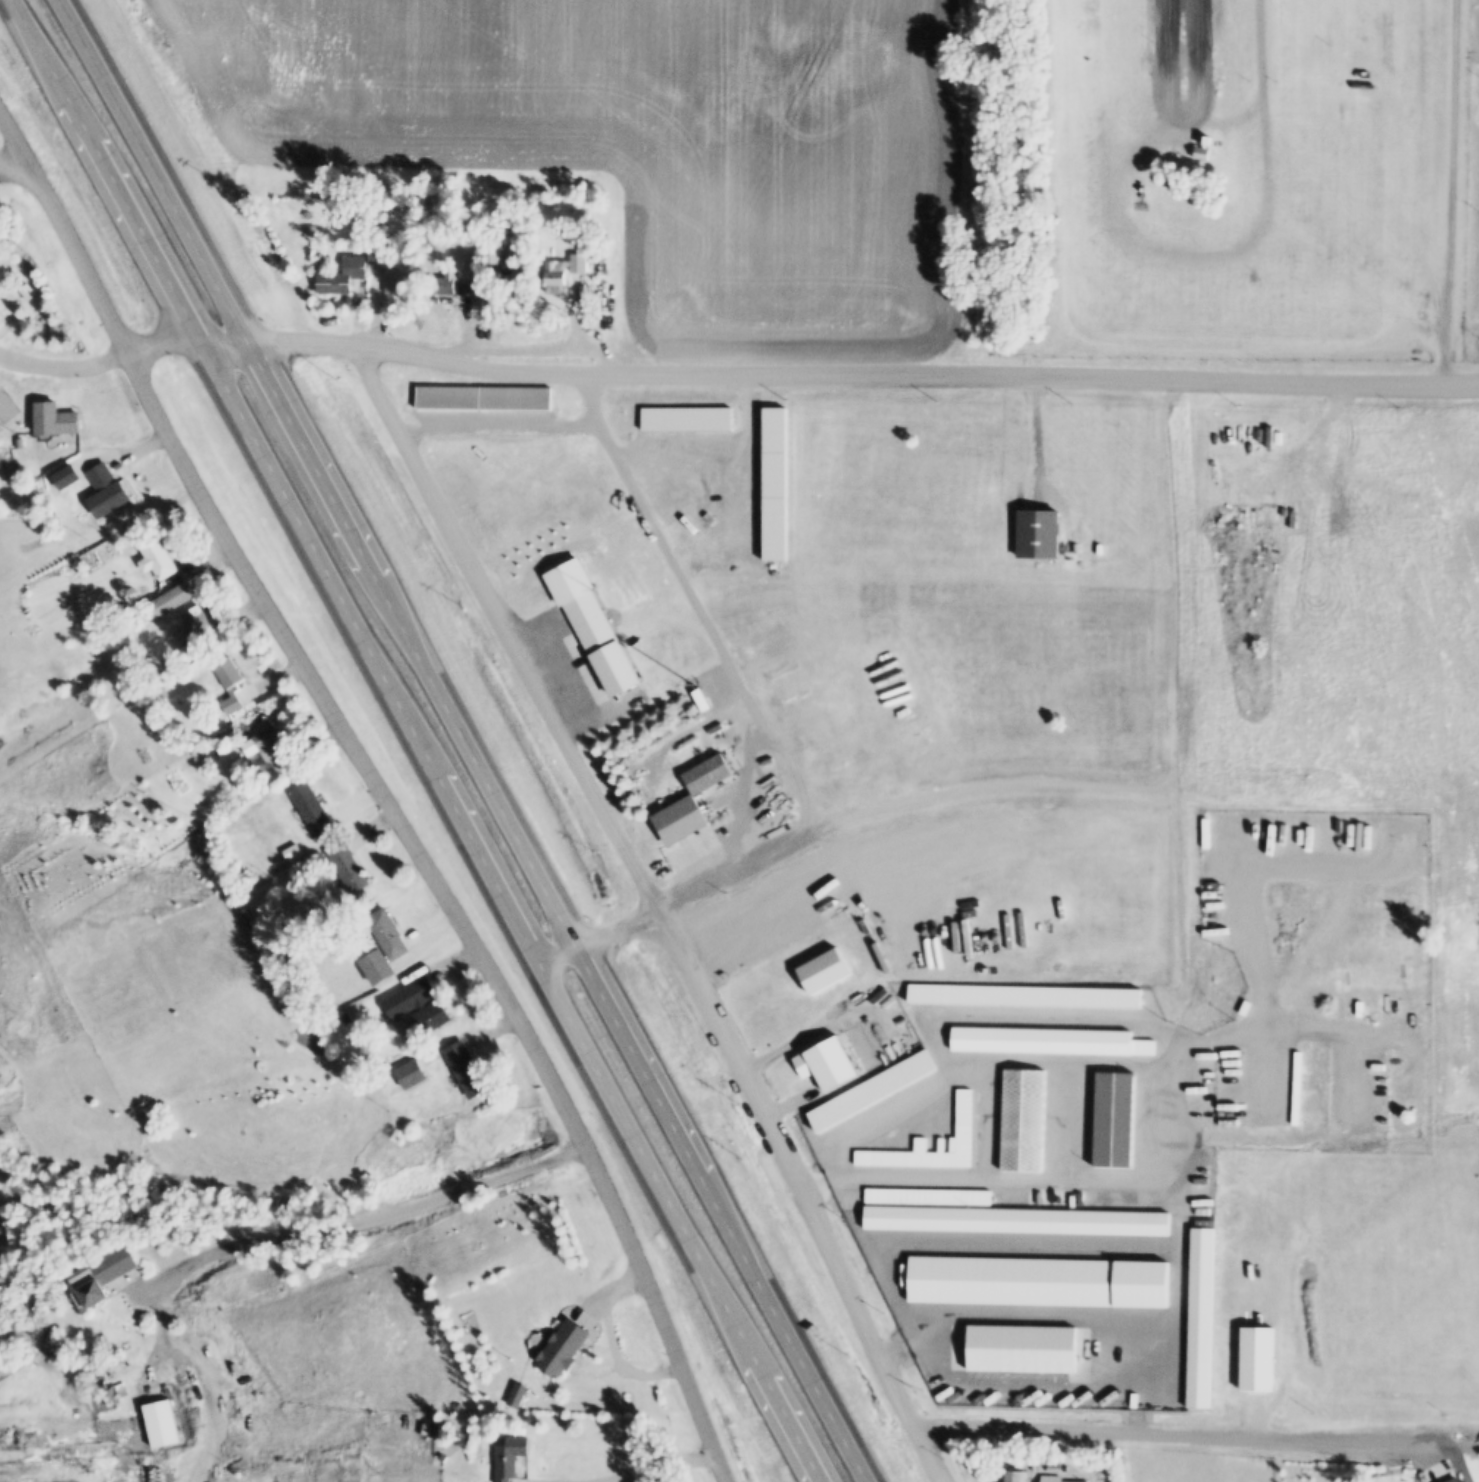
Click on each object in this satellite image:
building: (1209, 141)
building: (1201, 153)
road: (14, 160)
road: (1455, 191)
building: (380, 249)
building: (492, 252)
building: (468, 266)
building: (565, 273)
building: (343, 274)
building: (447, 281)
building: (512, 283)
building: (400, 284)
building: (28, 291)
building: (1, 322)
road: (734, 374)
building: (484, 397)
building: (55, 419)
building: (20, 443)
building: (109, 492)
building: (1040, 534)
building: (158, 558)
building: (171, 600)
road: (696, 603)
building: (198, 619)
building: (603, 641)
building: (192, 649)
parking lot: (570, 670)
building: (231, 685)
road: (1175, 719)
road: (465, 739)
road: (421, 740)
building: (271, 759)
road: (379, 787)
building: (312, 810)
road: (842, 818)
building: (680, 820)
building: (294, 851)
building: (349, 868)
road: (656, 905)
building: (388, 934)
building: (378, 968)
building: (823, 970)
building: (419, 1006)
building: (404, 1028)
building: (826, 1064)
building: (467, 1070)
building: (1116, 1119)
building: (1023, 1120)
road: (1033, 1180)
building: (1056, 1197)
road: (367, 1227)
building: (102, 1273)
building: (565, 1347)
building: (1024, 1348)
building: (1260, 1357)
road: (197, 1376)
building: (160, 1424)
building: (436, 1430)
road: (1148, 1434)
building: (512, 1457)
building: (442, 1458)
building: (1044, 1458)
road: (659, 1468)
building: (1054, 1468)
building: (1016, 1475)
building: (1052, 1478)
building: (1444, 1480)

